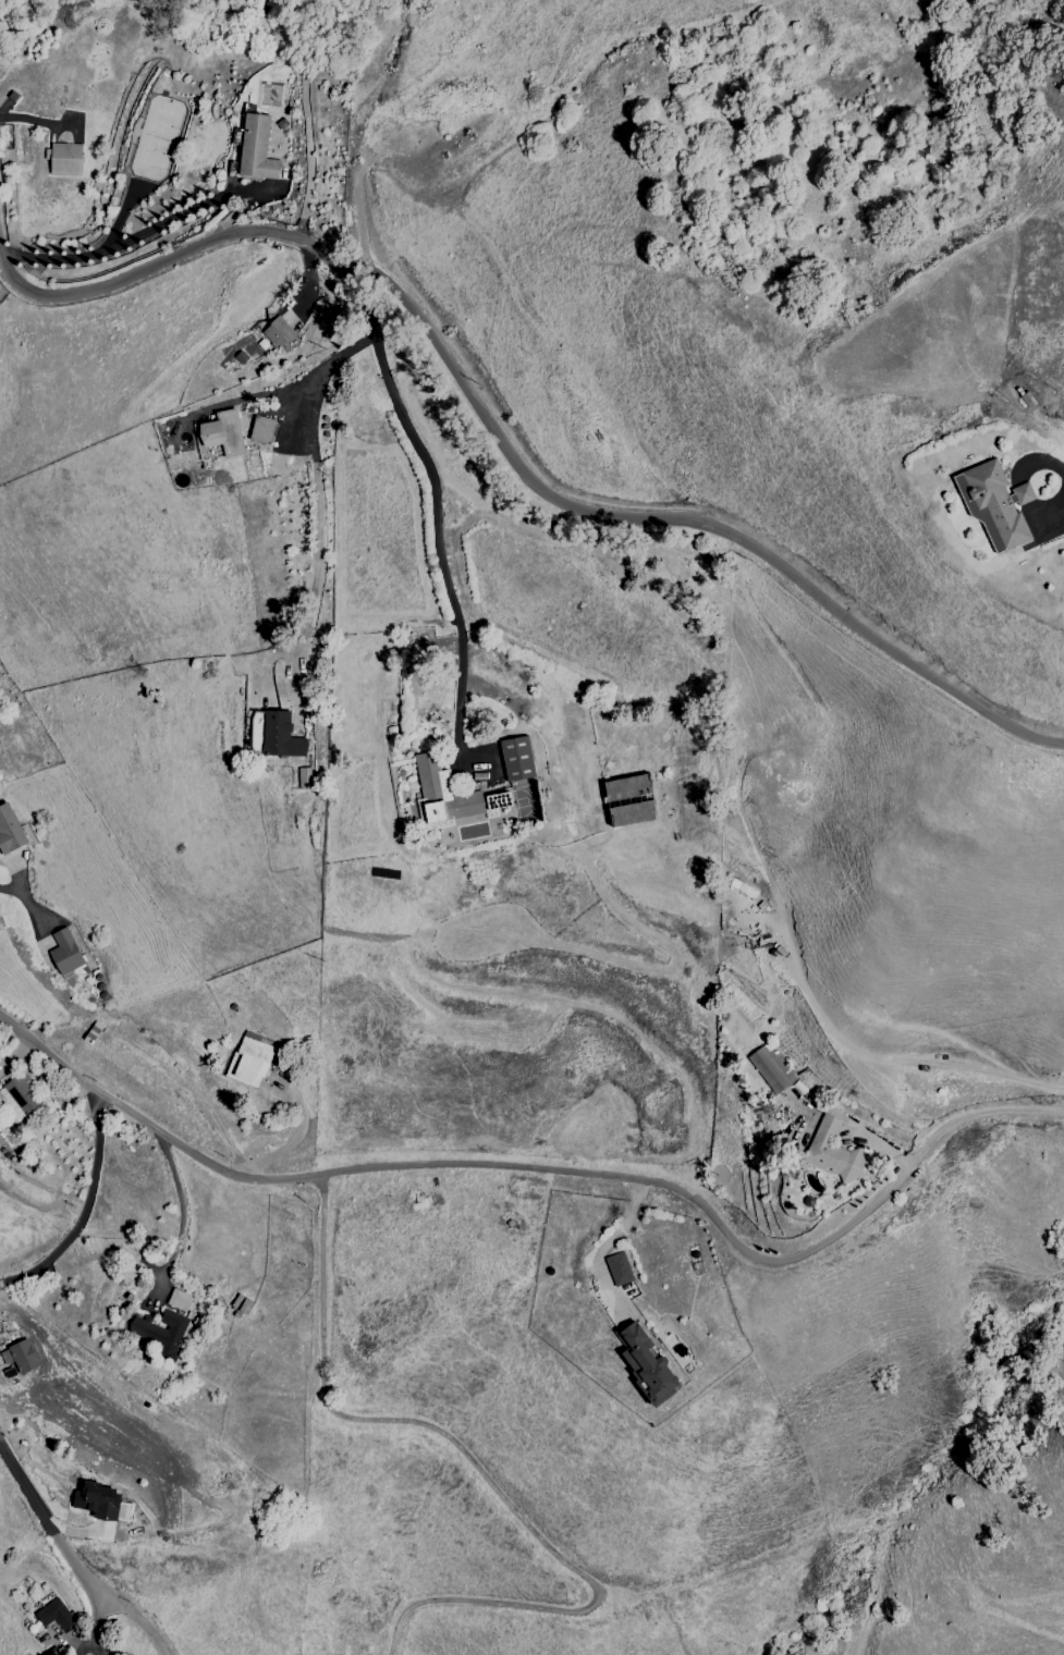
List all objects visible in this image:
road: (39, 122)
building: (256, 147)
building: (64, 159)
road: (159, 224)
road: (158, 258)
building: (278, 333)
road: (455, 369)
building: (261, 429)
building: (220, 436)
road: (313, 461)
building: (994, 506)
road: (435, 532)
road: (819, 593)
building: (273, 735)
building: (516, 759)
building: (303, 777)
building: (449, 795)
building: (629, 800)
road: (9, 891)
building: (64, 952)
building: (249, 1059)
road: (904, 1061)
building: (771, 1067)
building: (20, 1098)
building: (832, 1151)
road: (549, 1170)
road: (181, 1207)
road: (86, 1209)
road: (604, 1248)
building: (617, 1268)
building: (181, 1300)
building: (161, 1333)
building: (19, 1357)
building: (646, 1364)
road: (487, 1476)
building: (103, 1503)
road: (71, 1555)
road: (90, 1598)
building: (53, 1615)
road: (85, 1641)
road: (95, 1641)

